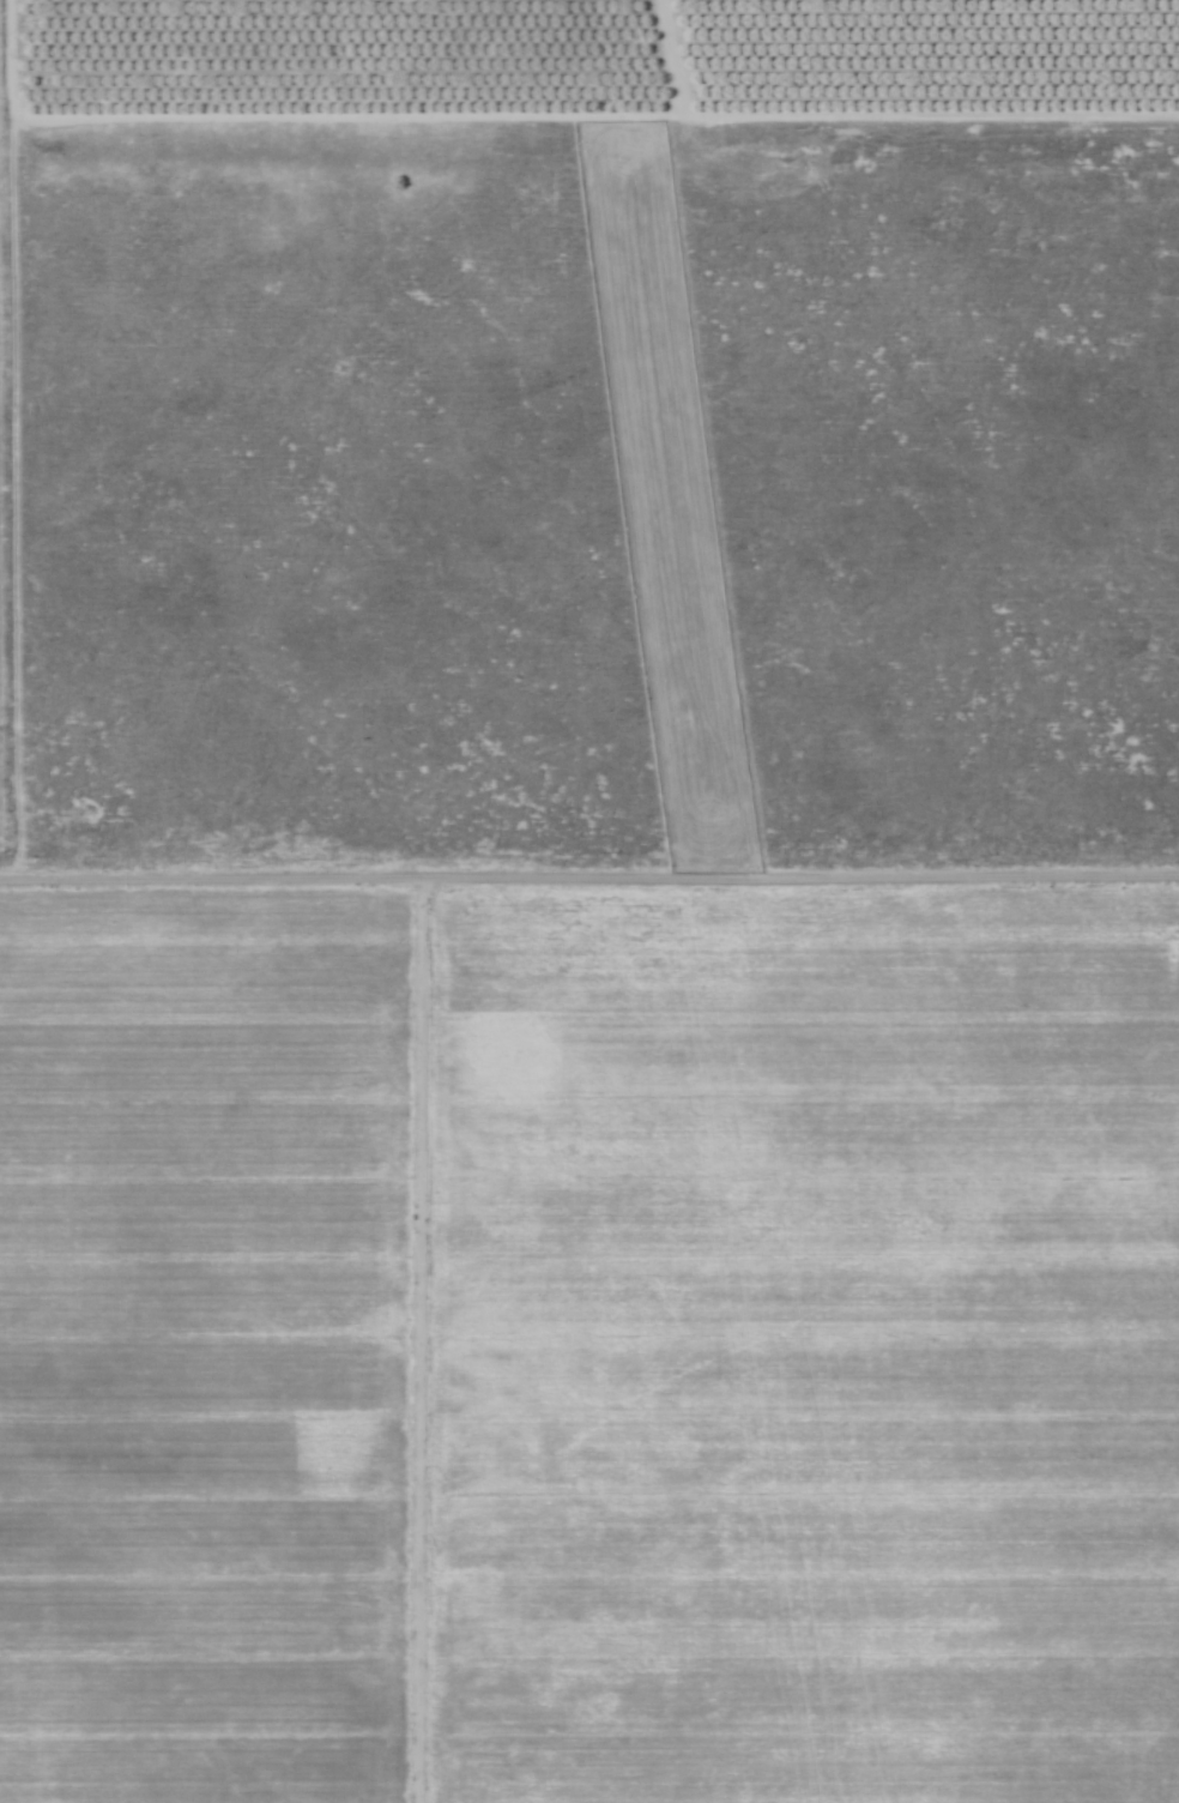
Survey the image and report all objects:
crop: (589, 64)
road: (588, 884)
railway: (707, 903)
railway: (718, 903)
crop: (1003, 1317)
road: (416, 1344)
crop: (205, 1345)
crop: (581, 1386)

